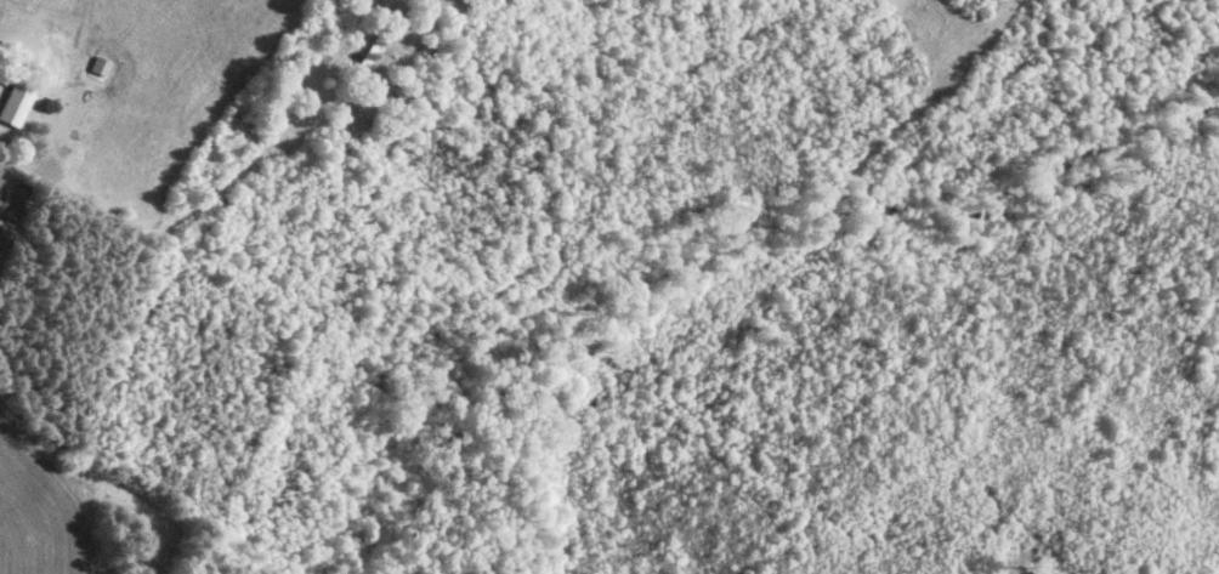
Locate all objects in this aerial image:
building: (18, 104)

